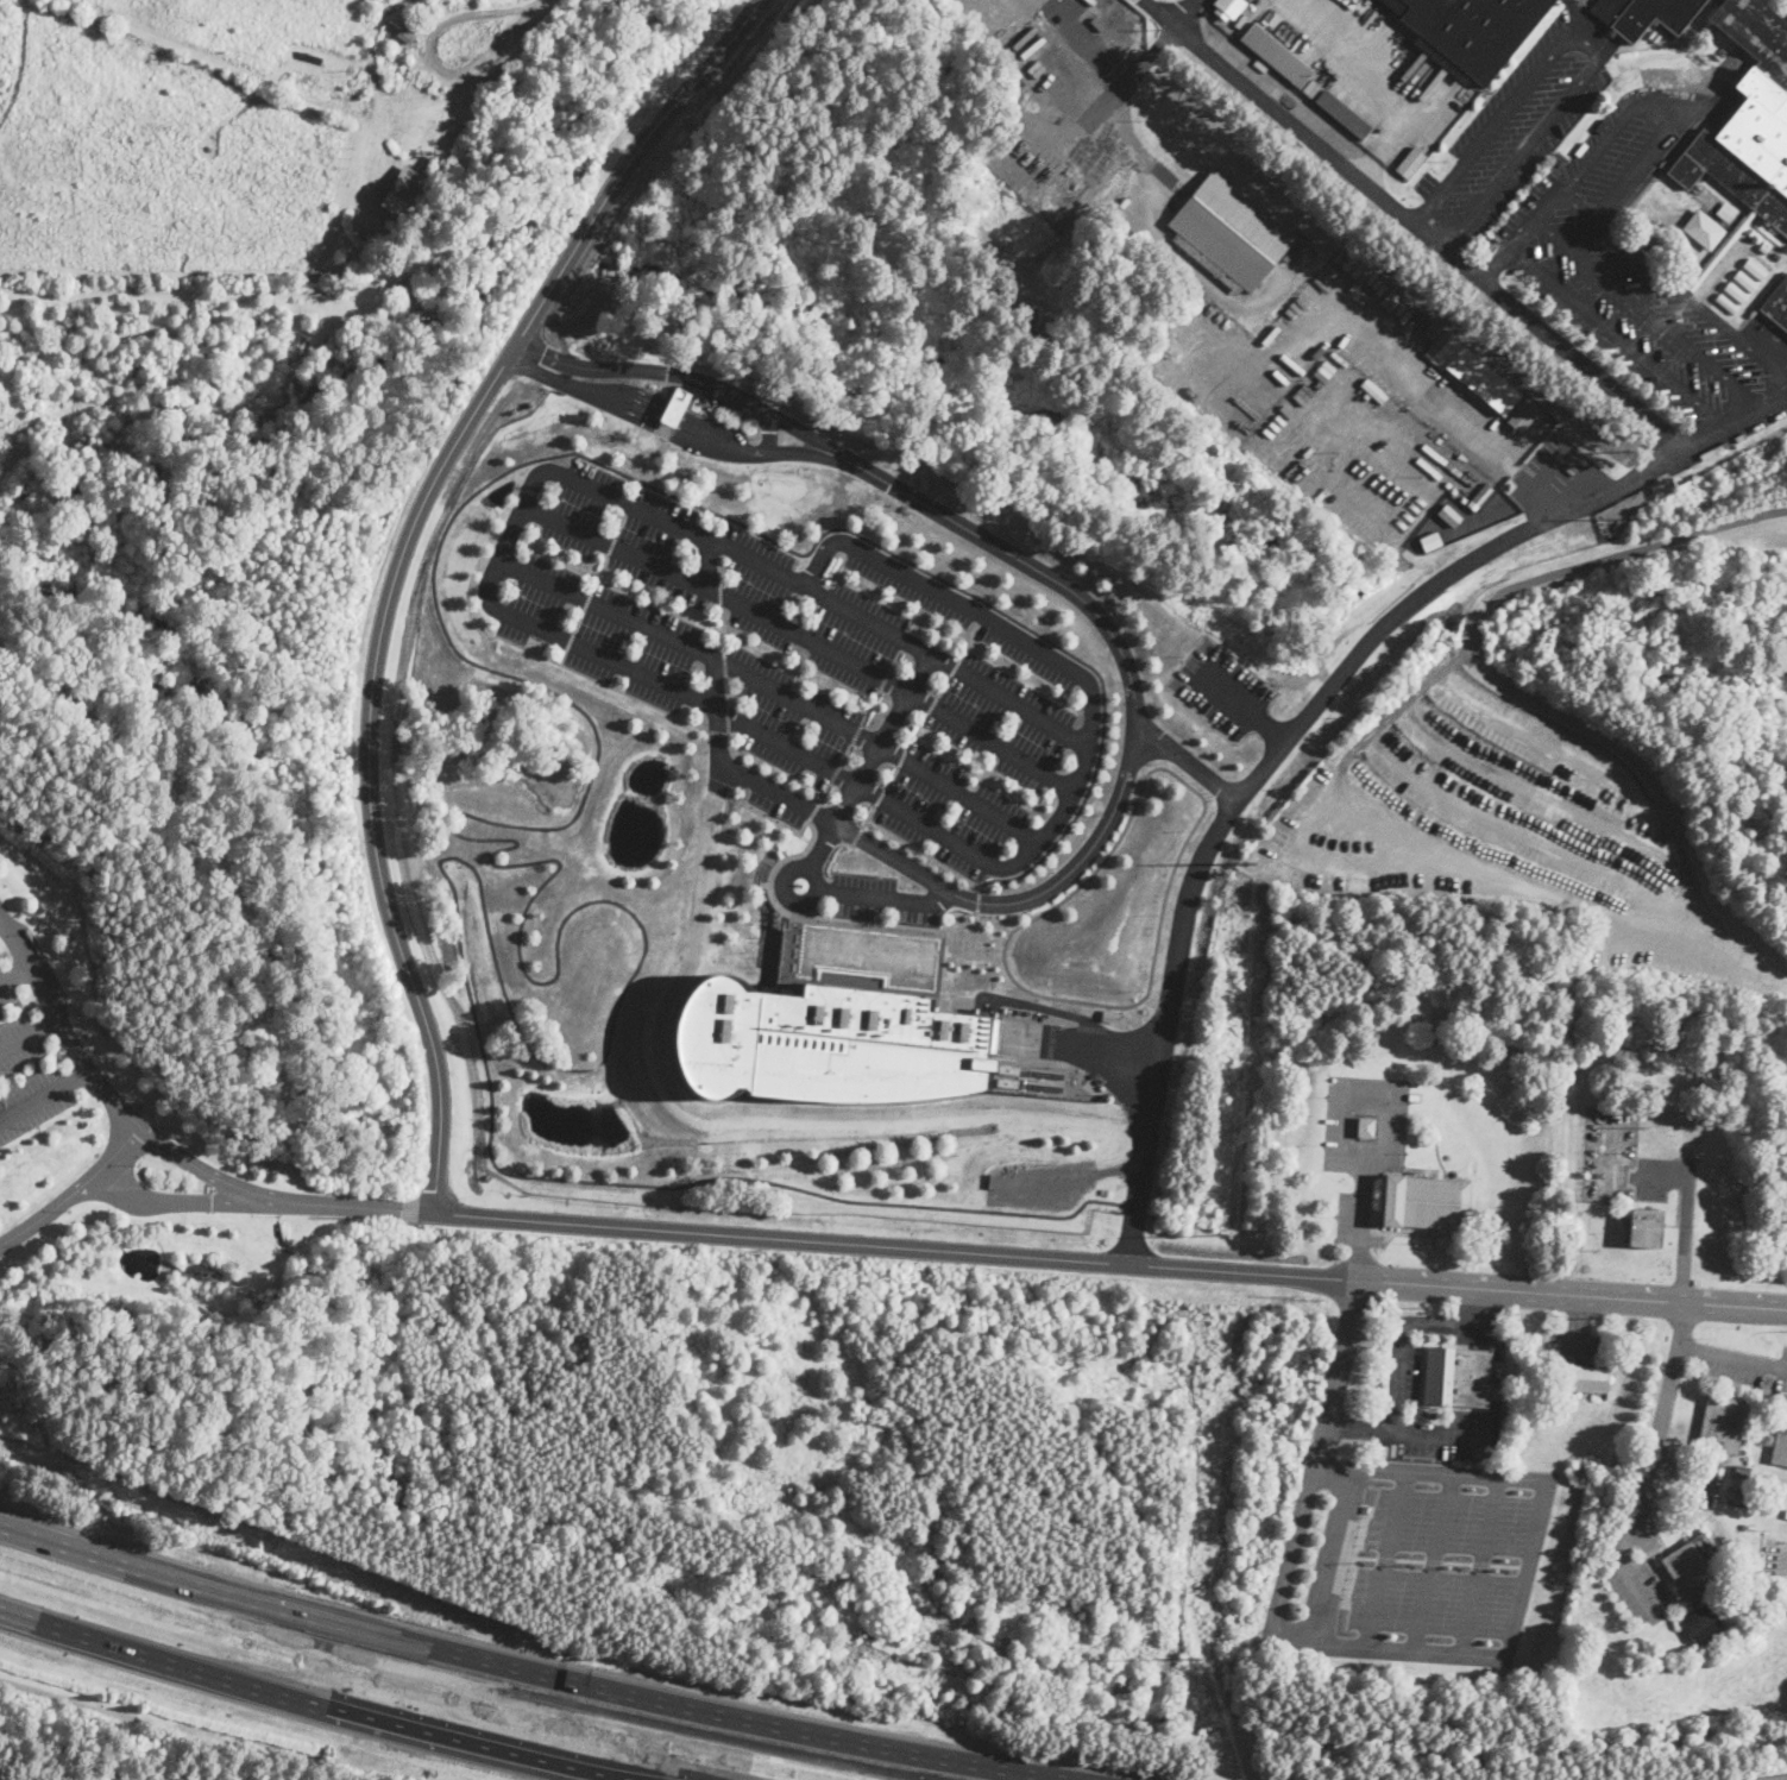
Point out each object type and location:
building: (1717, 1)
road: (534, 6)
building: (1228, 7)
road: (1183, 12)
building: (1644, 14)
building: (1468, 31)
building: (1611, 31)
building: (404, 34)
road: (1593, 42)
building: (1276, 55)
road: (430, 57)
road: (1377, 82)
road: (1662, 105)
building: (1342, 115)
building: (1748, 119)
parking lot: (1512, 132)
building: (474, 137)
building: (1409, 163)
building: (403, 190)
park: (498, 197)
building: (1725, 213)
road: (1411, 222)
building: (1704, 228)
building: (1228, 232)
road: (1519, 235)
building: (1725, 240)
building: (1763, 249)
building: (1753, 270)
parking lot: (1638, 277)
building: (1744, 281)
road: (1672, 283)
building: (404, 285)
building: (1736, 293)
road: (1273, 294)
building: (1726, 304)
building: (1776, 304)
road: (1644, 310)
road: (1616, 334)
building: (1472, 373)
road: (686, 376)
building: (1373, 390)
road: (1354, 403)
building: (675, 405)
building: (1523, 415)
road: (669, 429)
road: (768, 433)
building: (1479, 497)
road: (635, 504)
road: (628, 507)
building: (1449, 515)
road: (621, 524)
power tower: (1636, 526)
building: (1428, 539)
road: (611, 545)
road: (715, 547)
road: (849, 547)
road: (399, 556)
road: (710, 565)
road: (718, 568)
road: (836, 571)
road: (599, 573)
road: (825, 591)
road: (719, 592)
road: (586, 599)
road: (579, 619)
road: (982, 619)
road: (722, 628)
road: (803, 640)
road: (570, 641)
road: (970, 641)
road: (902, 643)
road: (561, 656)
road: (894, 660)
road: (724, 662)
road: (956, 665)
road: (883, 679)
road: (600, 681)
road: (944, 686)
road: (1509, 686)
road: (725, 688)
road: (773, 688)
parking lot: (1220, 688)
road: (932, 705)
road: (870, 706)
road: (1242, 706)
road: (716, 707)
road: (1024, 711)
road: (1305, 715)
road: (726, 716)
road: (1013, 728)
road: (917, 730)
road: (717, 731)
road: (856, 732)
road: (1001, 747)
road: (1554, 749)
road: (845, 753)
road: (901, 756)
road: (870, 760)
road: (1188, 761)
road: (764, 772)
road: (983, 772)
road: (833, 773)
road: (1080, 773)
road: (891, 778)
road: (1213, 786)
road: (1204, 792)
road: (823, 793)
road: (879, 795)
road: (1118, 795)
road: (1540, 797)
road: (968, 798)
road: (812, 811)
road: (867, 816)
road: (956, 817)
road: (776, 820)
road: (1196, 823)
road: (731, 828)
road: (856, 836)
road: (945, 836)
road: (1533, 839)
road: (1440, 844)
road: (936, 850)
road: (925, 853)
road: (829, 854)
road: (555, 858)
road: (776, 862)
power tower: (1248, 866)
road: (1348, 876)
road: (828, 886)
road: (819, 887)
road: (882, 895)
road: (976, 900)
road: (837, 905)
road: (927, 913)
road: (914, 925)
road: (769, 932)
road: (974, 933)
road: (787, 954)
road: (971, 956)
road: (13, 973)
road: (885, 988)
parking lot: (6, 989)
road: (1043, 1007)
road: (1137, 1013)
building: (1109, 1015)
road: (29, 1033)
road: (1496, 1036)
parking lot: (19, 1043)
building: (823, 1043)
road: (1077, 1044)
road: (1147, 1044)
building: (1007, 1068)
building: (1006, 1082)
road: (101, 1086)
road: (44, 1094)
building: (1414, 1095)
parking lot: (33, 1101)
building: (1365, 1127)
road: (1386, 1128)
parking lot: (1363, 1143)
road: (1071, 1180)
parking lot: (1040, 1182)
road: (74, 1191)
road: (169, 1201)
building: (1426, 1201)
road: (346, 1206)
road: (1684, 1212)
building: (1644, 1228)
power tower: (1223, 1232)
road: (894, 1246)
road: (1572, 1295)
road: (1578, 1327)
road: (1399, 1339)
parking lot: (1575, 1346)
road: (1732, 1359)
parking lot: (1742, 1365)
road: (1335, 1373)
parking lot: (1404, 1373)
building: (1458, 1377)
building: (1584, 1379)
building: (1722, 1426)
road: (1487, 1435)
building: (1780, 1441)
building: (1465, 1454)
building: (1481, 1454)
road: (1650, 1467)
road: (1332, 1468)
road: (1682, 1472)
building: (1741, 1472)
road: (1448, 1474)
building: (1698, 1496)
building: (1736, 1497)
building: (1786, 1512)
road: (1646, 1537)
road: (1329, 1558)
road: (1384, 1561)
parking lot: (1408, 1561)
road: (1785, 1561)
road: (1430, 1564)
road: (1288, 1565)
building: (1690, 1566)
road: (1477, 1567)
road: (1525, 1570)
building: (1700, 1622)
road: (1405, 1652)
power tower: (1191, 1656)
road: (521, 1669)
road: (314, 1700)

